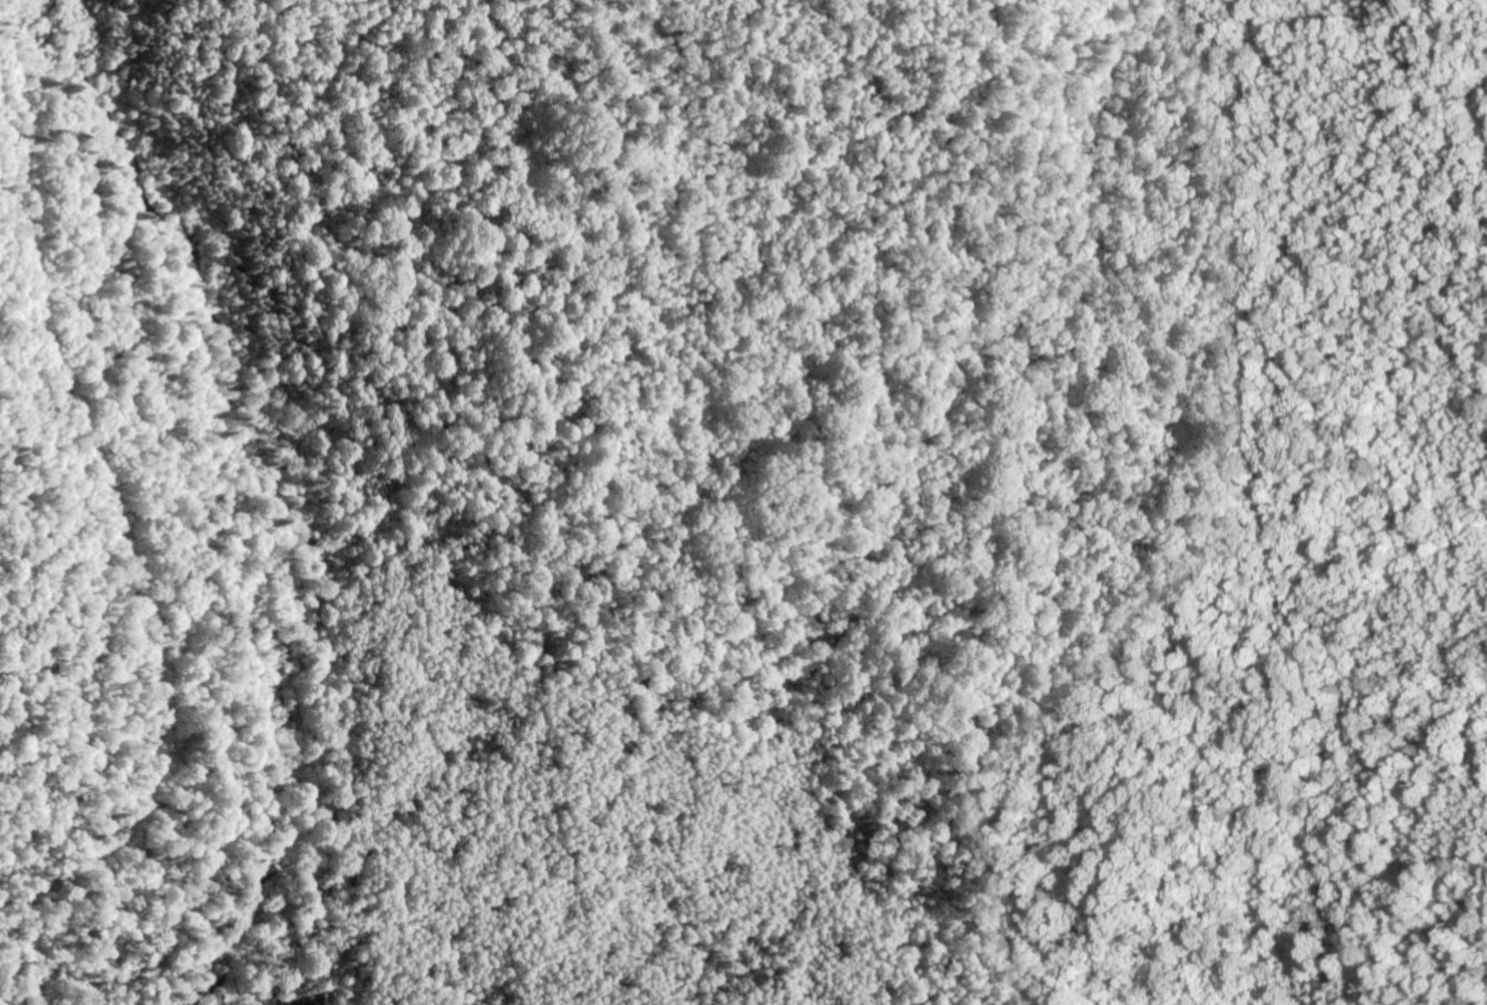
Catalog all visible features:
road: (1255, 468)

